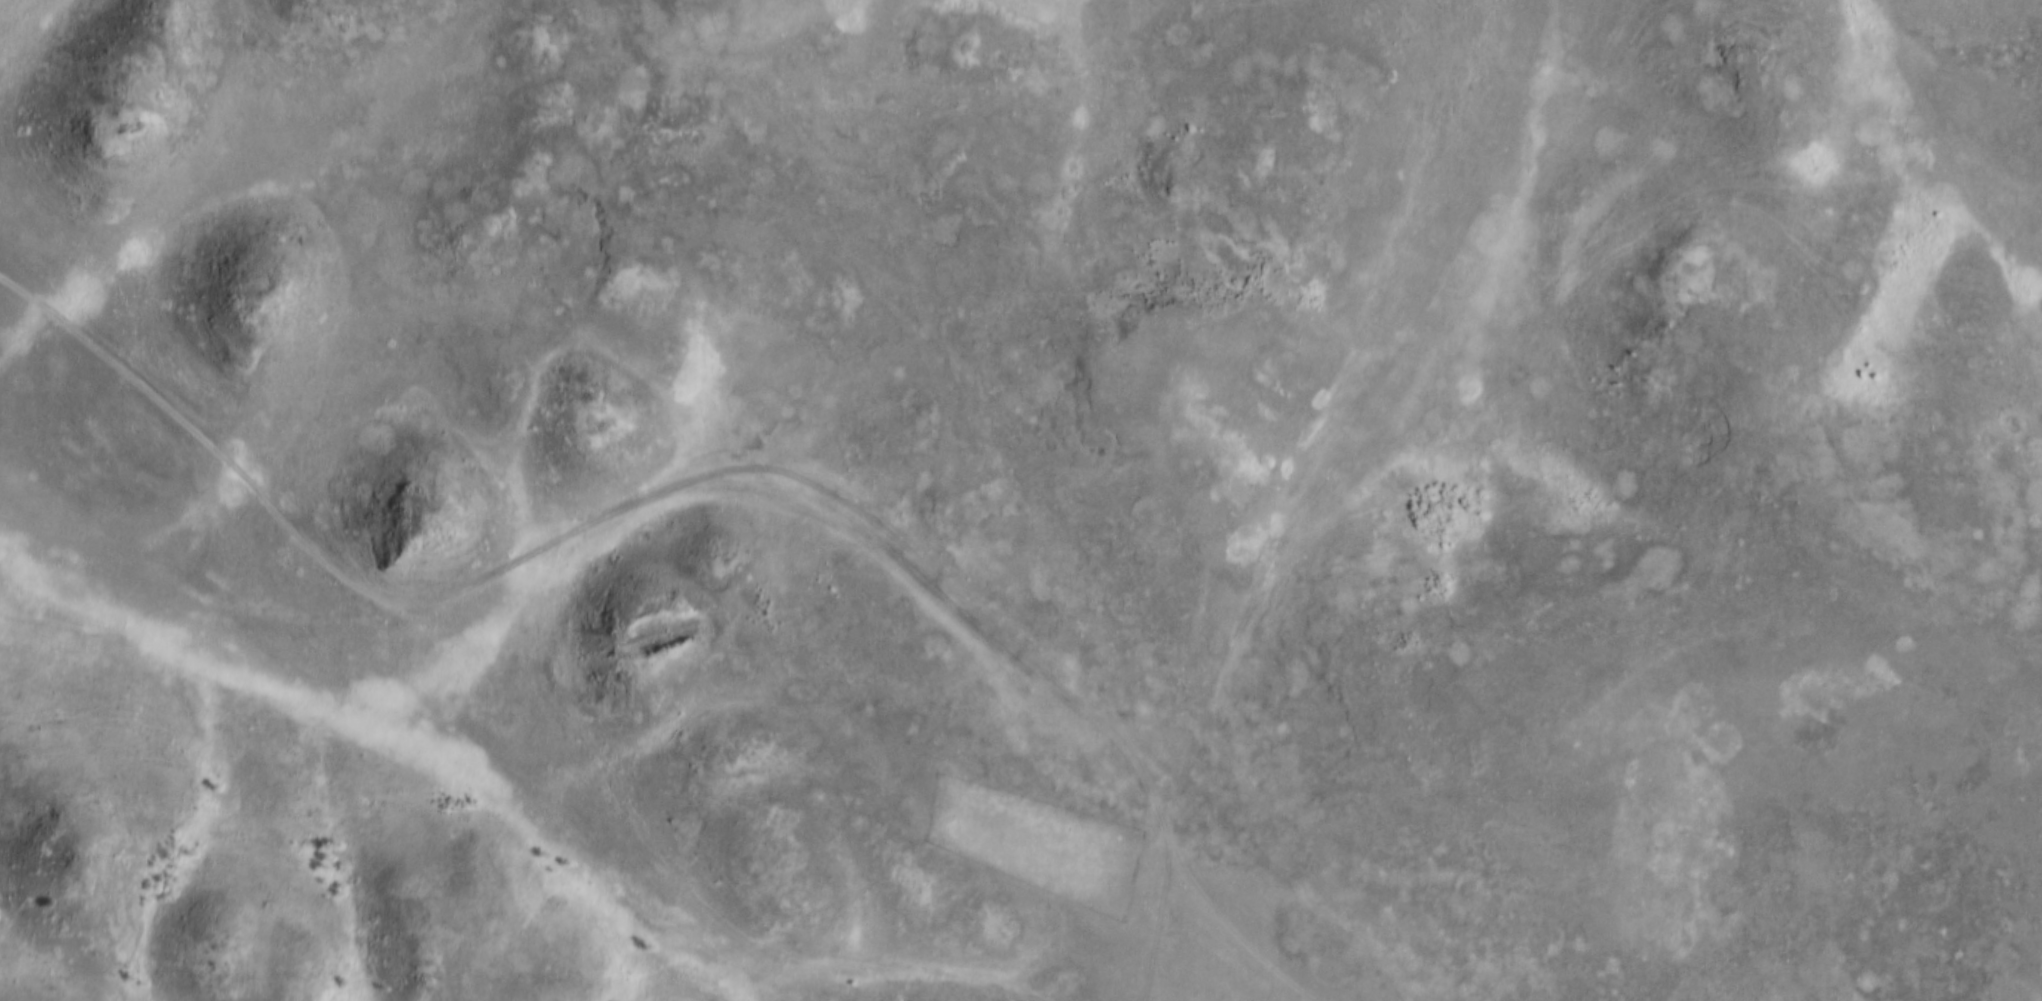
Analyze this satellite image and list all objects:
road: (699, 482)

